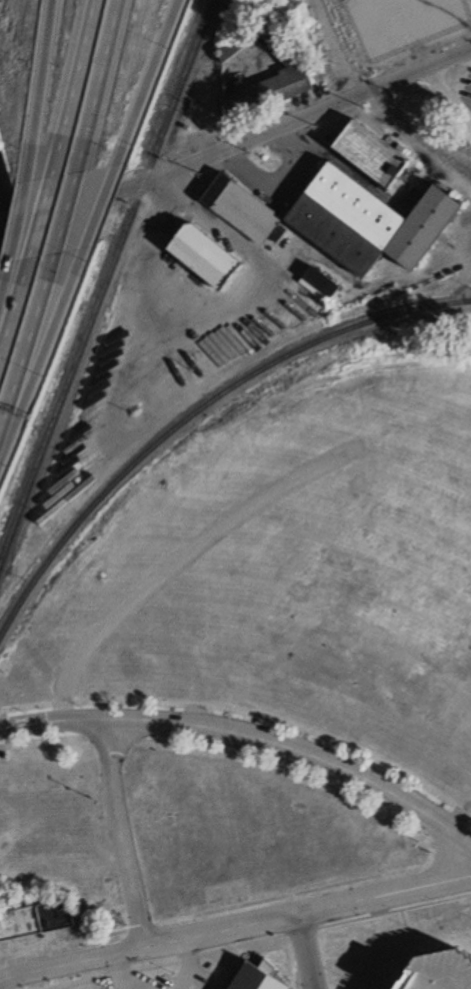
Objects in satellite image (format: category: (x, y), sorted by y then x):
building: (407, 23)
power substation: (409, 27)
road: (335, 47)
building: (292, 65)
road: (151, 82)
parking lot: (466, 85)
road: (99, 86)
road: (72, 88)
road: (39, 90)
road: (448, 97)
railway: (382, 100)
road: (235, 143)
railway: (452, 144)
building: (367, 152)
road: (280, 180)
road: (76, 191)
road: (104, 206)
building: (239, 207)
road: (67, 212)
road: (40, 217)
building: (367, 220)
road: (19, 221)
road: (3, 226)
building: (203, 254)
railway: (106, 282)
road: (5, 288)
road: (15, 303)
road: (234, 304)
road: (29, 350)
road: (45, 359)
railway: (195, 413)
road: (248, 714)
road: (4, 728)
road: (247, 736)
road: (3, 747)
road: (251, 760)
road: (119, 833)
road: (292, 894)
building: (36, 920)
road: (236, 925)
road: (262, 942)
road: (302, 951)
road: (319, 960)
road: (188, 964)
road: (121, 971)
building: (441, 974)
parking garage: (441, 974)
parking lot: (184, 978)
building: (256, 979)
road: (1, 980)
road: (131, 986)
parking lot: (102, 988)

